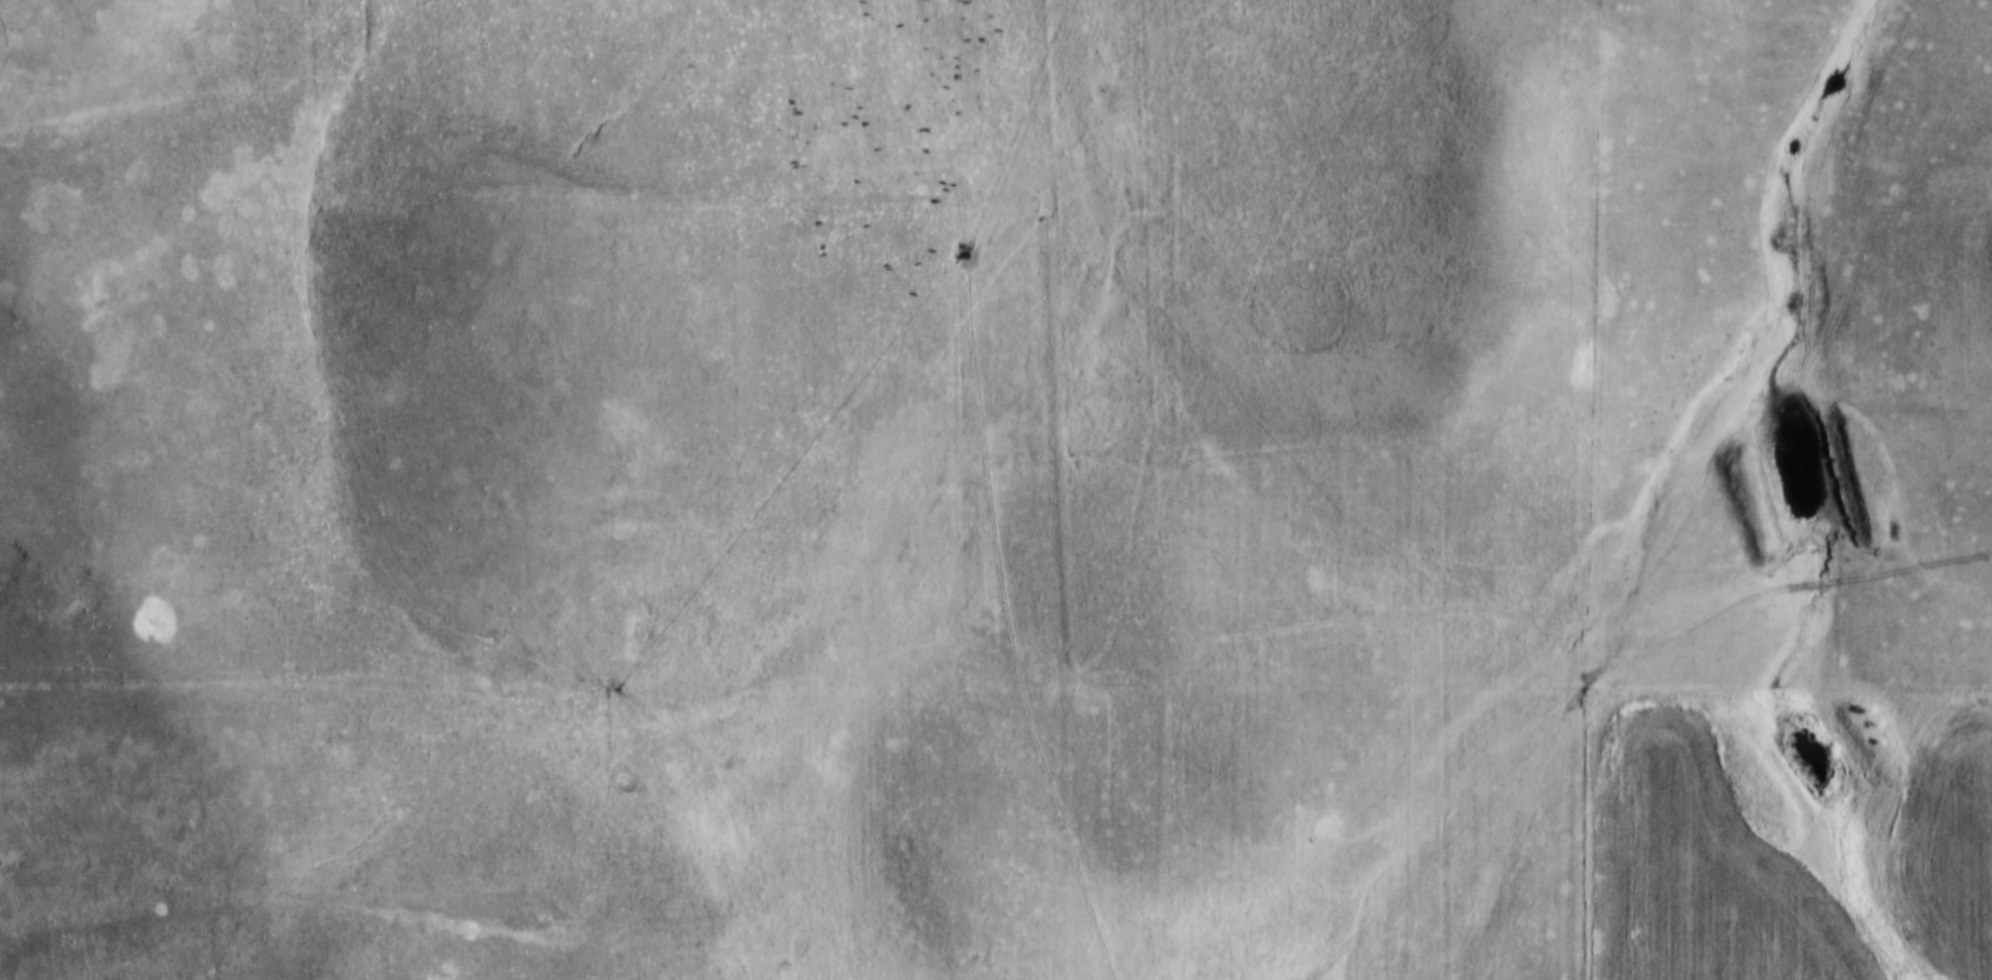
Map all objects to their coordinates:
road: (1880, 252)

